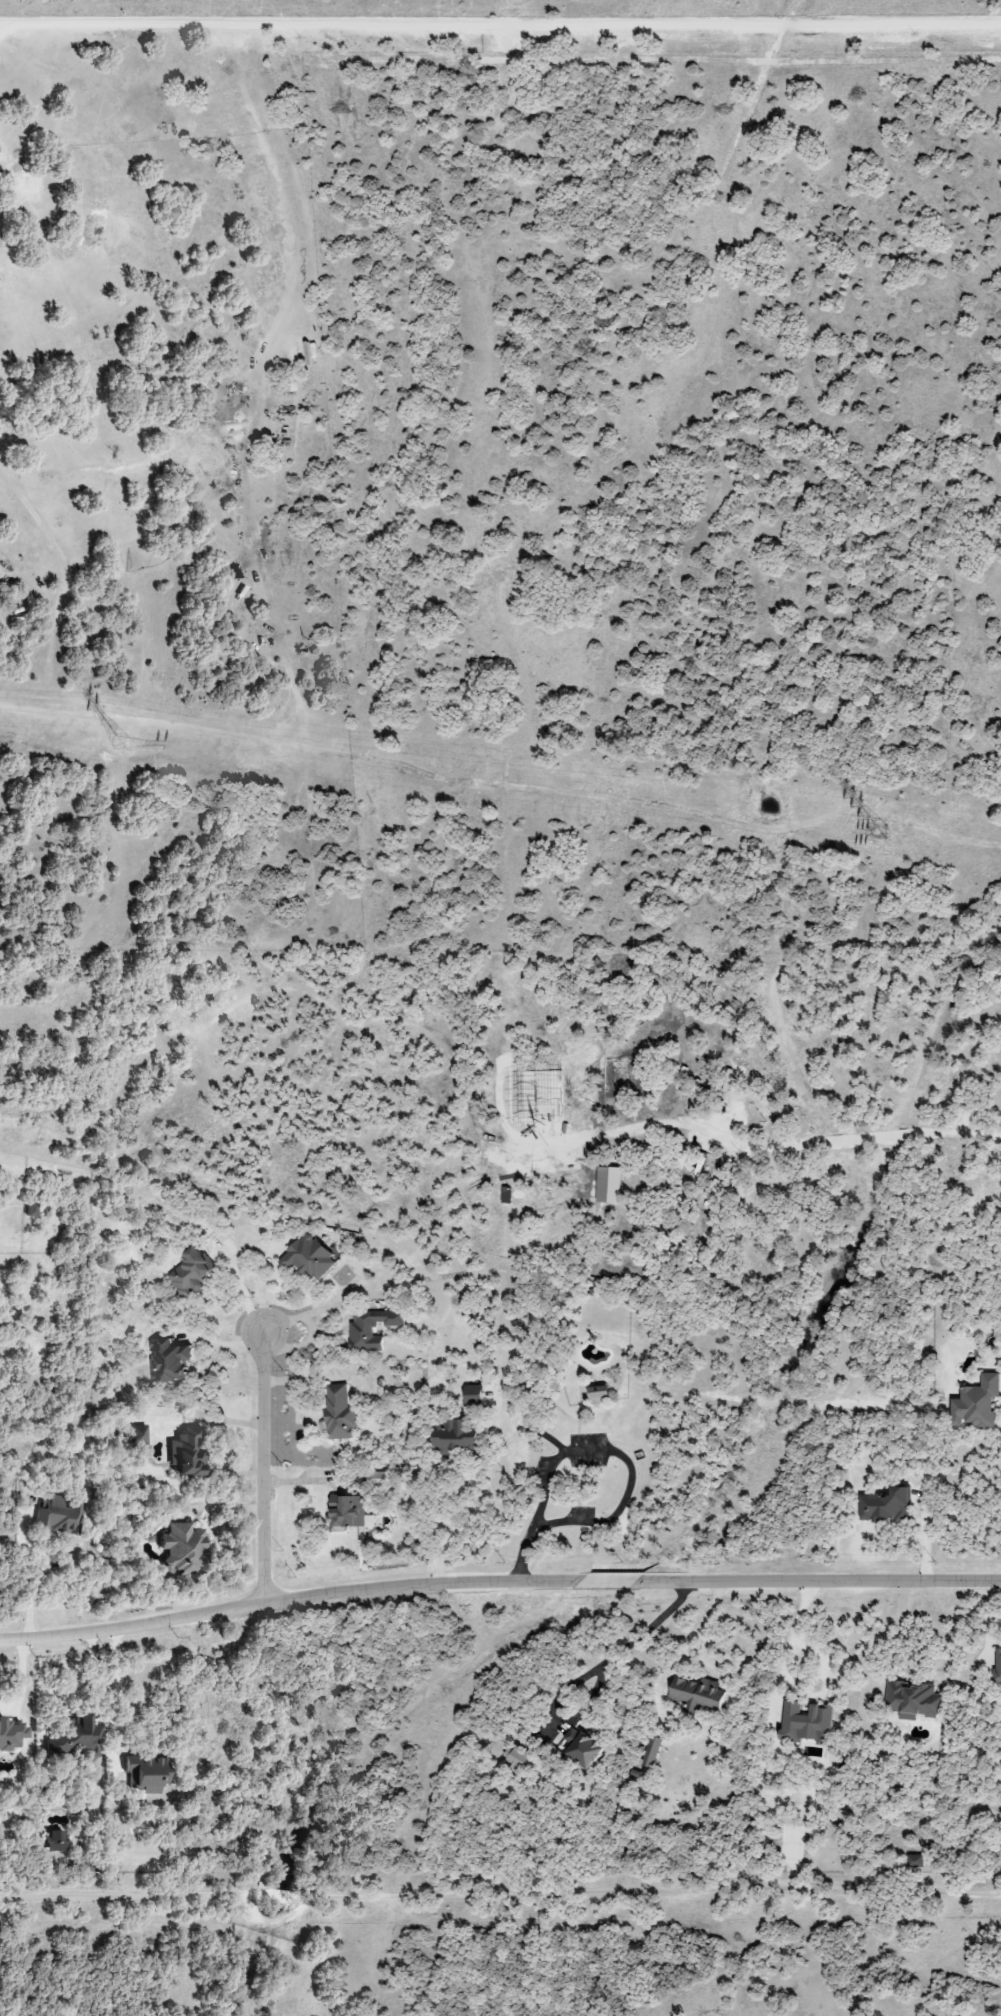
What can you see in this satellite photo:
road: (500, 24)
road: (5, 29)
power tower: (120, 749)
power tower: (876, 834)
road: (802, 1144)
building: (718, 1192)
building: (31, 1210)
building: (309, 1258)
building: (191, 1273)
road: (243, 1290)
road: (318, 1306)
building: (371, 1329)
road: (223, 1343)
road: (301, 1346)
building: (169, 1361)
building: (473, 1390)
building: (599, 1395)
building: (474, 1400)
building: (976, 1403)
building: (340, 1413)
building: (454, 1437)
building: (186, 1453)
road: (623, 1459)
road: (265, 1467)
building: (377, 1478)
road: (461, 1505)
building: (886, 1506)
building: (349, 1515)
building: (59, 1516)
building: (181, 1548)
road: (521, 1555)
road: (35, 1575)
road: (498, 1583)
road: (698, 1625)
road: (646, 1630)
road: (985, 1633)
road: (891, 1634)
building: (997, 1667)
road: (91, 1680)
road: (790, 1681)
building: (698, 1694)
building: (912, 1700)
road: (119, 1701)
building: (806, 1723)
building: (10, 1735)
building: (75, 1737)
building: (583, 1748)
building: (652, 1752)
building: (519, 1759)
building: (146, 1774)
building: (55, 1841)
road: (500, 1896)

